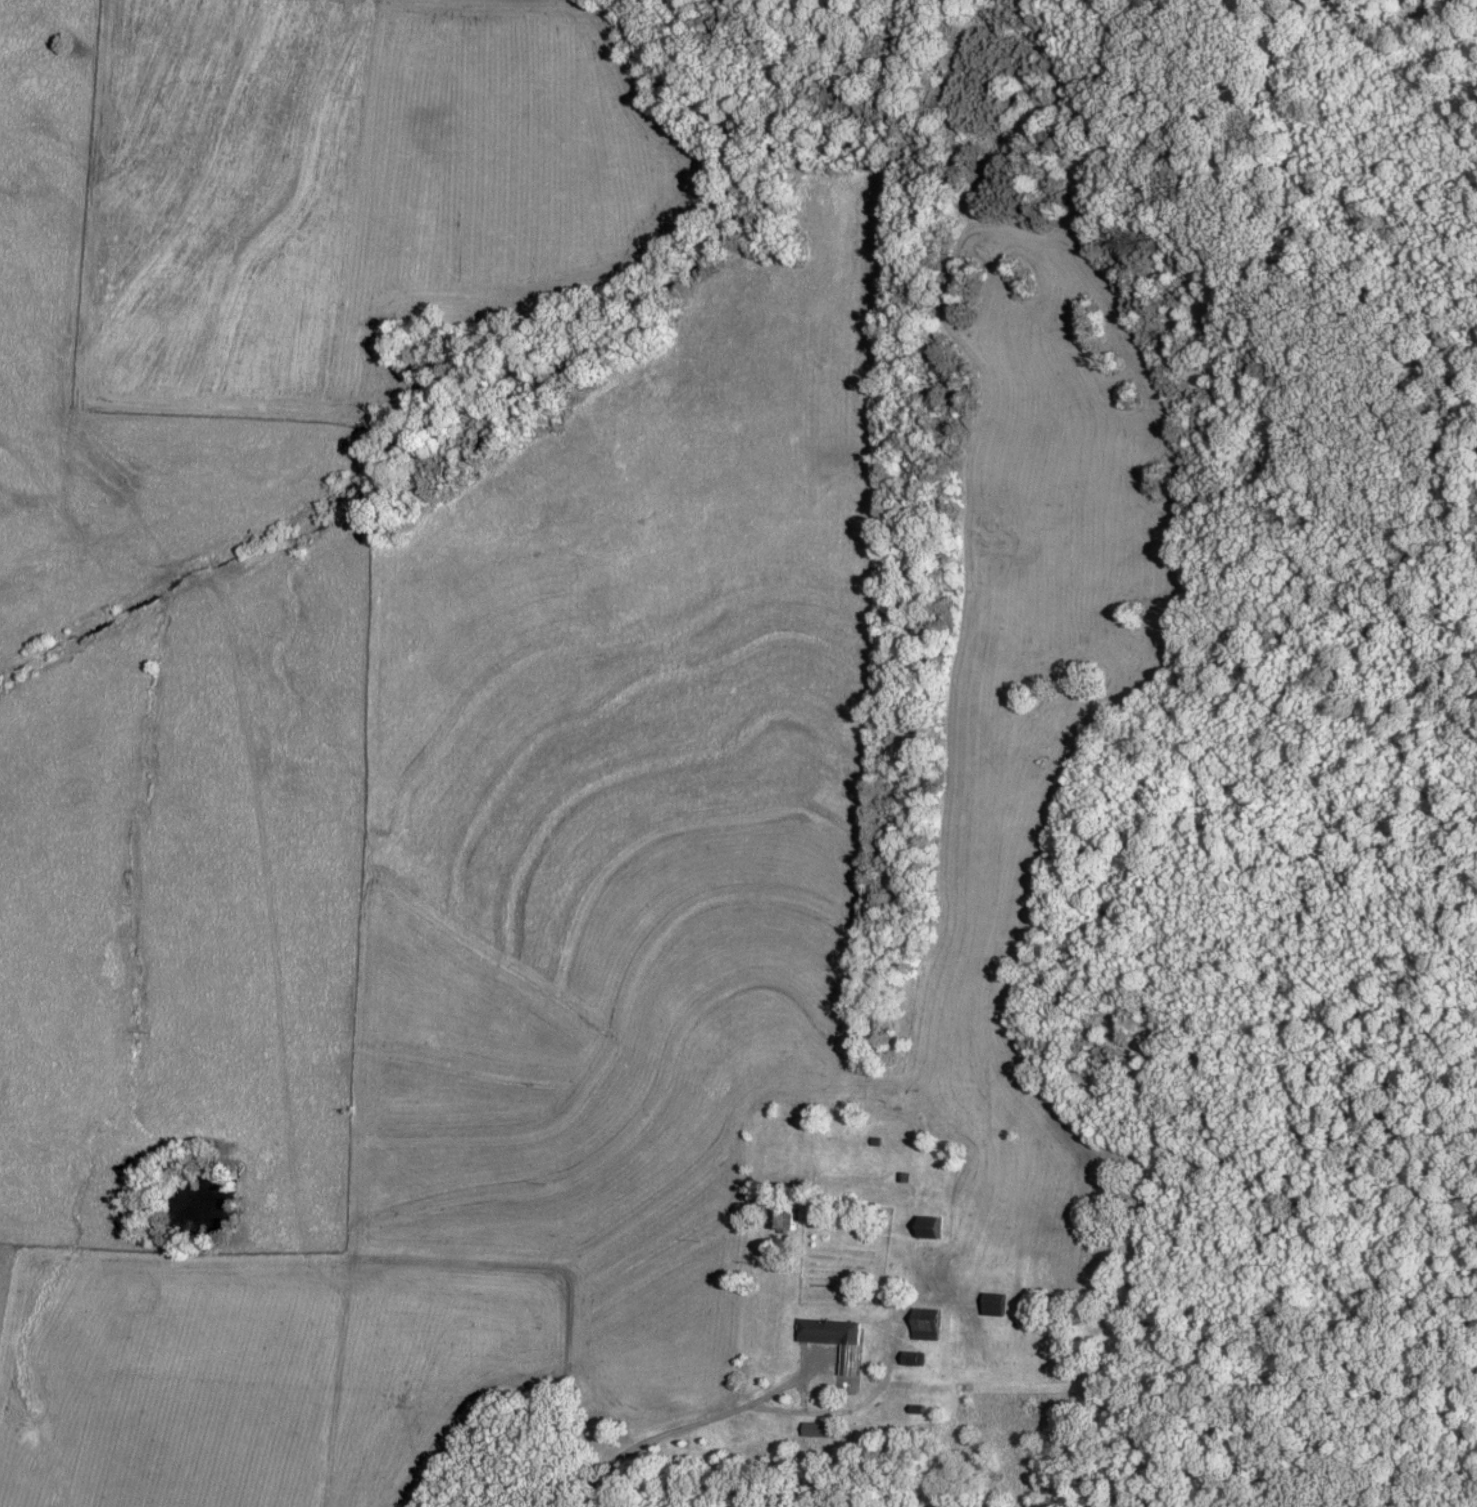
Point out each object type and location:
building: (783, 1222)
building: (929, 1228)
building: (993, 1306)
building: (925, 1325)
building: (836, 1342)
building: (913, 1360)
road: (784, 1415)
building: (818, 1432)

